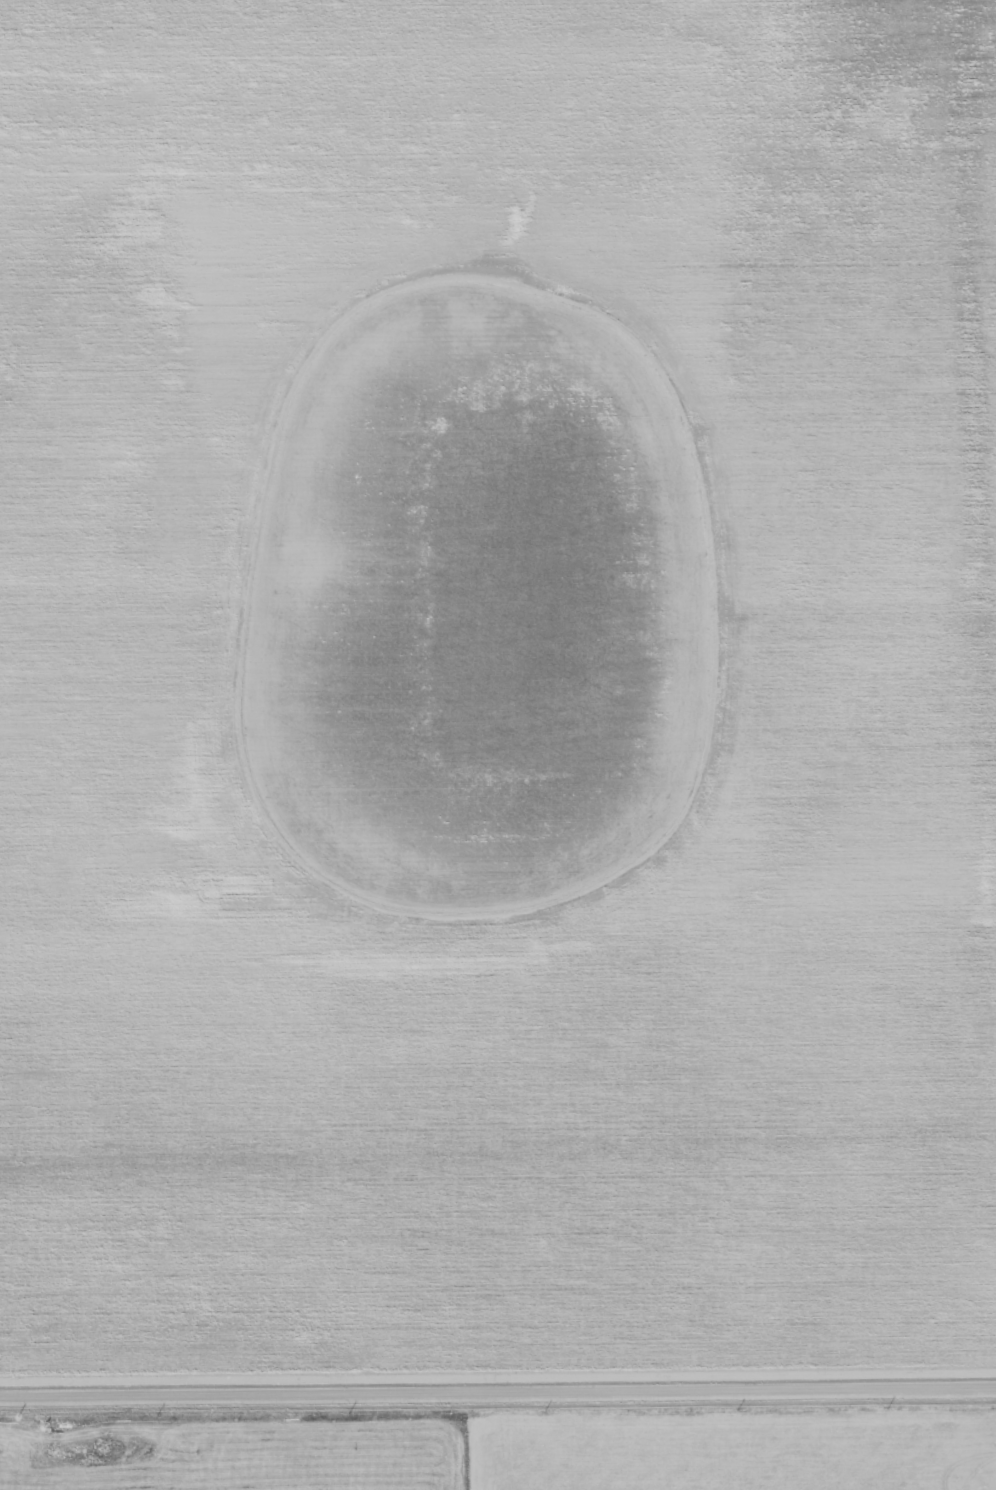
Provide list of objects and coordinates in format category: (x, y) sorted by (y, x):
road: (498, 1401)

